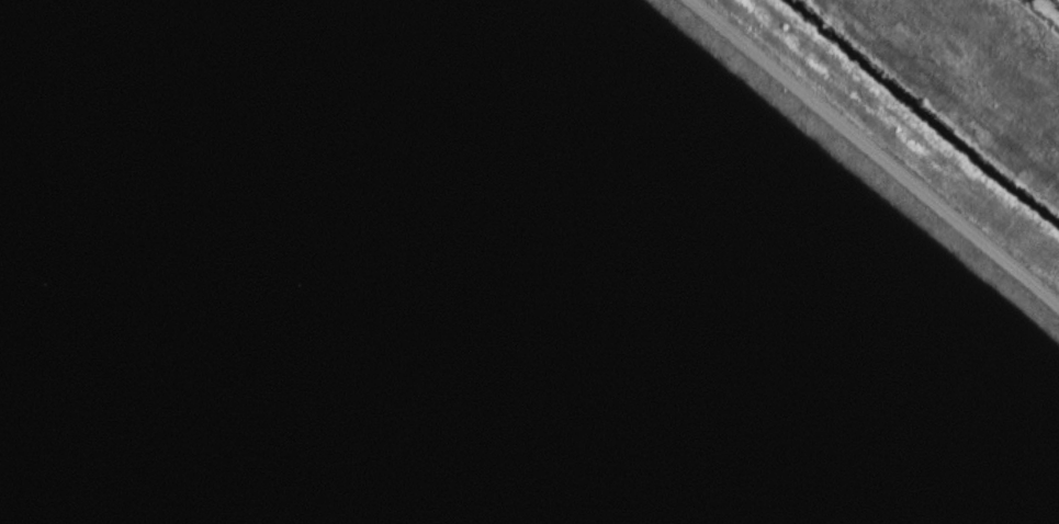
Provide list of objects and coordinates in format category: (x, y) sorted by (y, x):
road: (877, 150)
wastewater plant: (529, 262)

